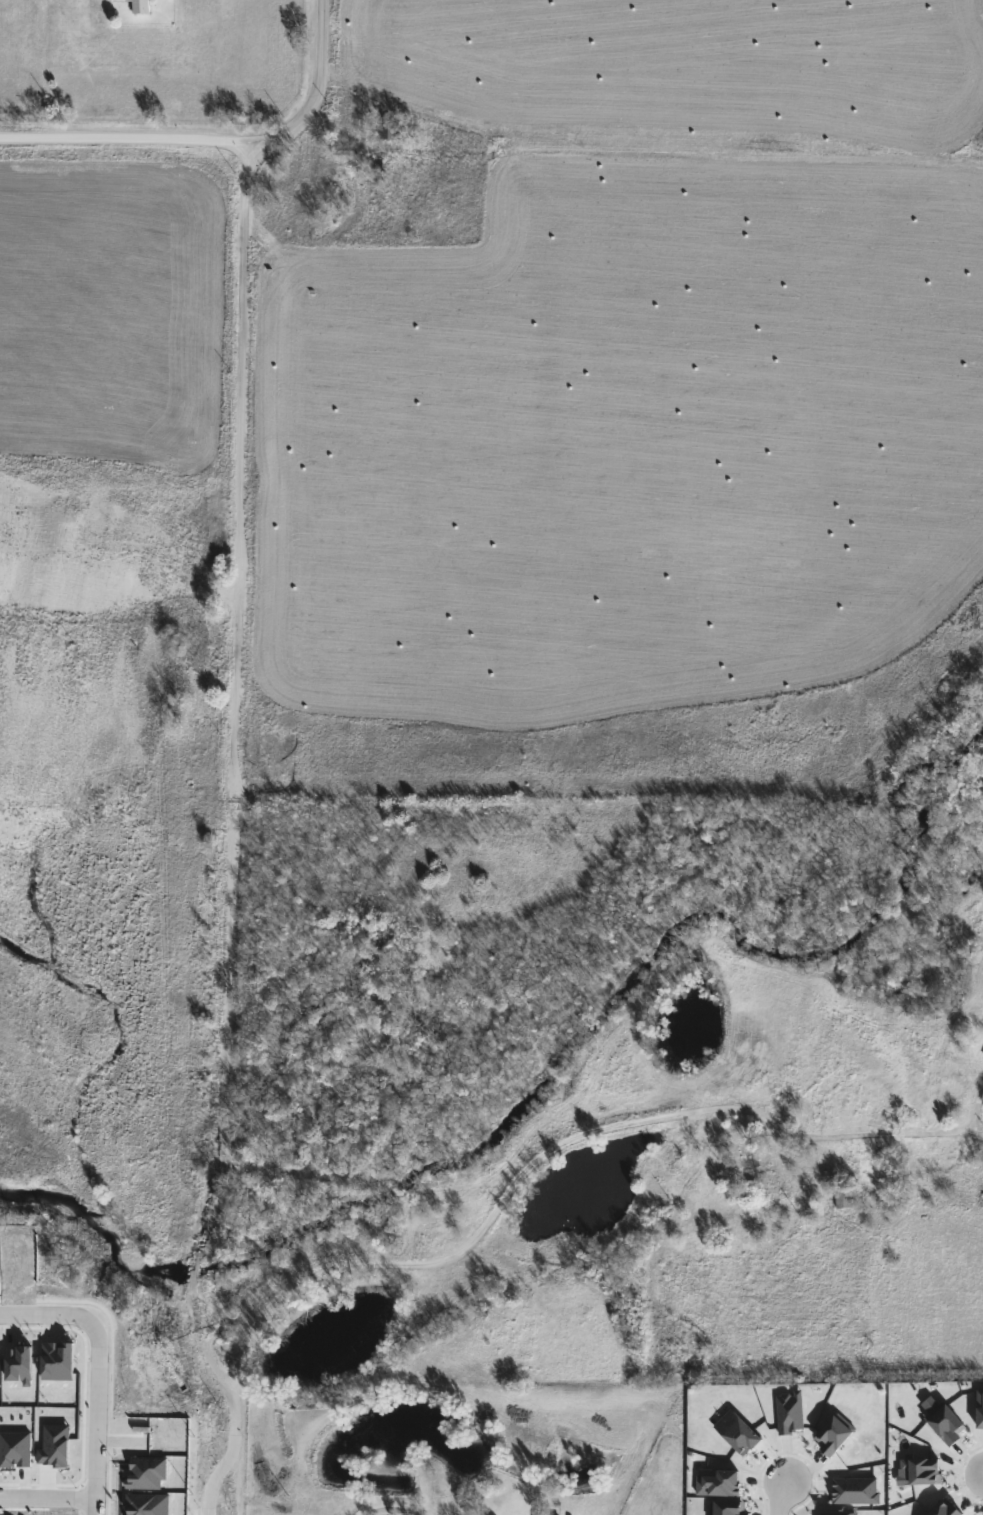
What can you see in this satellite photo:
building: (141, 7)
road: (315, 92)
road: (125, 138)
road: (233, 746)
road: (549, 1151)
building: (743, 1170)
building: (831, 1176)
building: (783, 1181)
building: (844, 1199)
road: (46, 1314)
road: (213, 1371)
road: (97, 1418)
road: (229, 1461)
road: (780, 1497)
road: (47, 1500)
road: (389, 1508)

